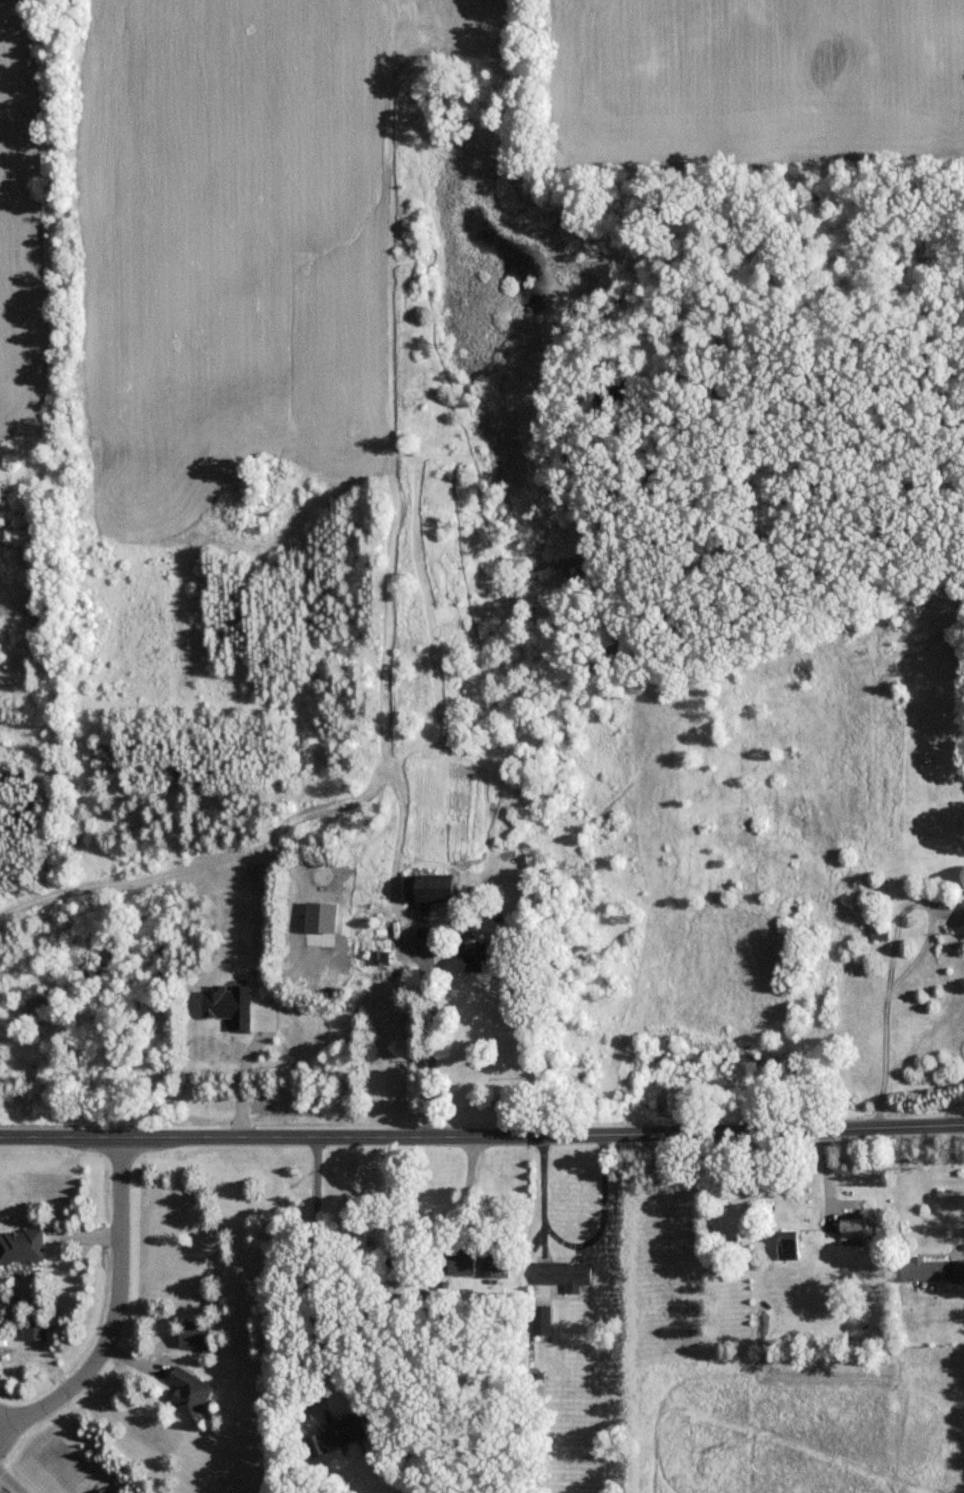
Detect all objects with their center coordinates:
building: (442, 890)
building: (961, 923)
building: (382, 957)
building: (476, 958)
road: (912, 965)
road: (428, 1040)
road: (482, 1138)
road: (826, 1183)
road: (471, 1190)
building: (852, 1232)
road: (961, 1241)
building: (22, 1245)
building: (787, 1245)
road: (574, 1247)
building: (462, 1260)
building: (495, 1261)
road: (313, 1263)
building: (933, 1269)
building: (567, 1273)
road: (116, 1308)
building: (543, 1319)
building: (35, 1329)
building: (190, 1391)
building: (342, 1431)
road: (11, 1482)
building: (105, 1490)

